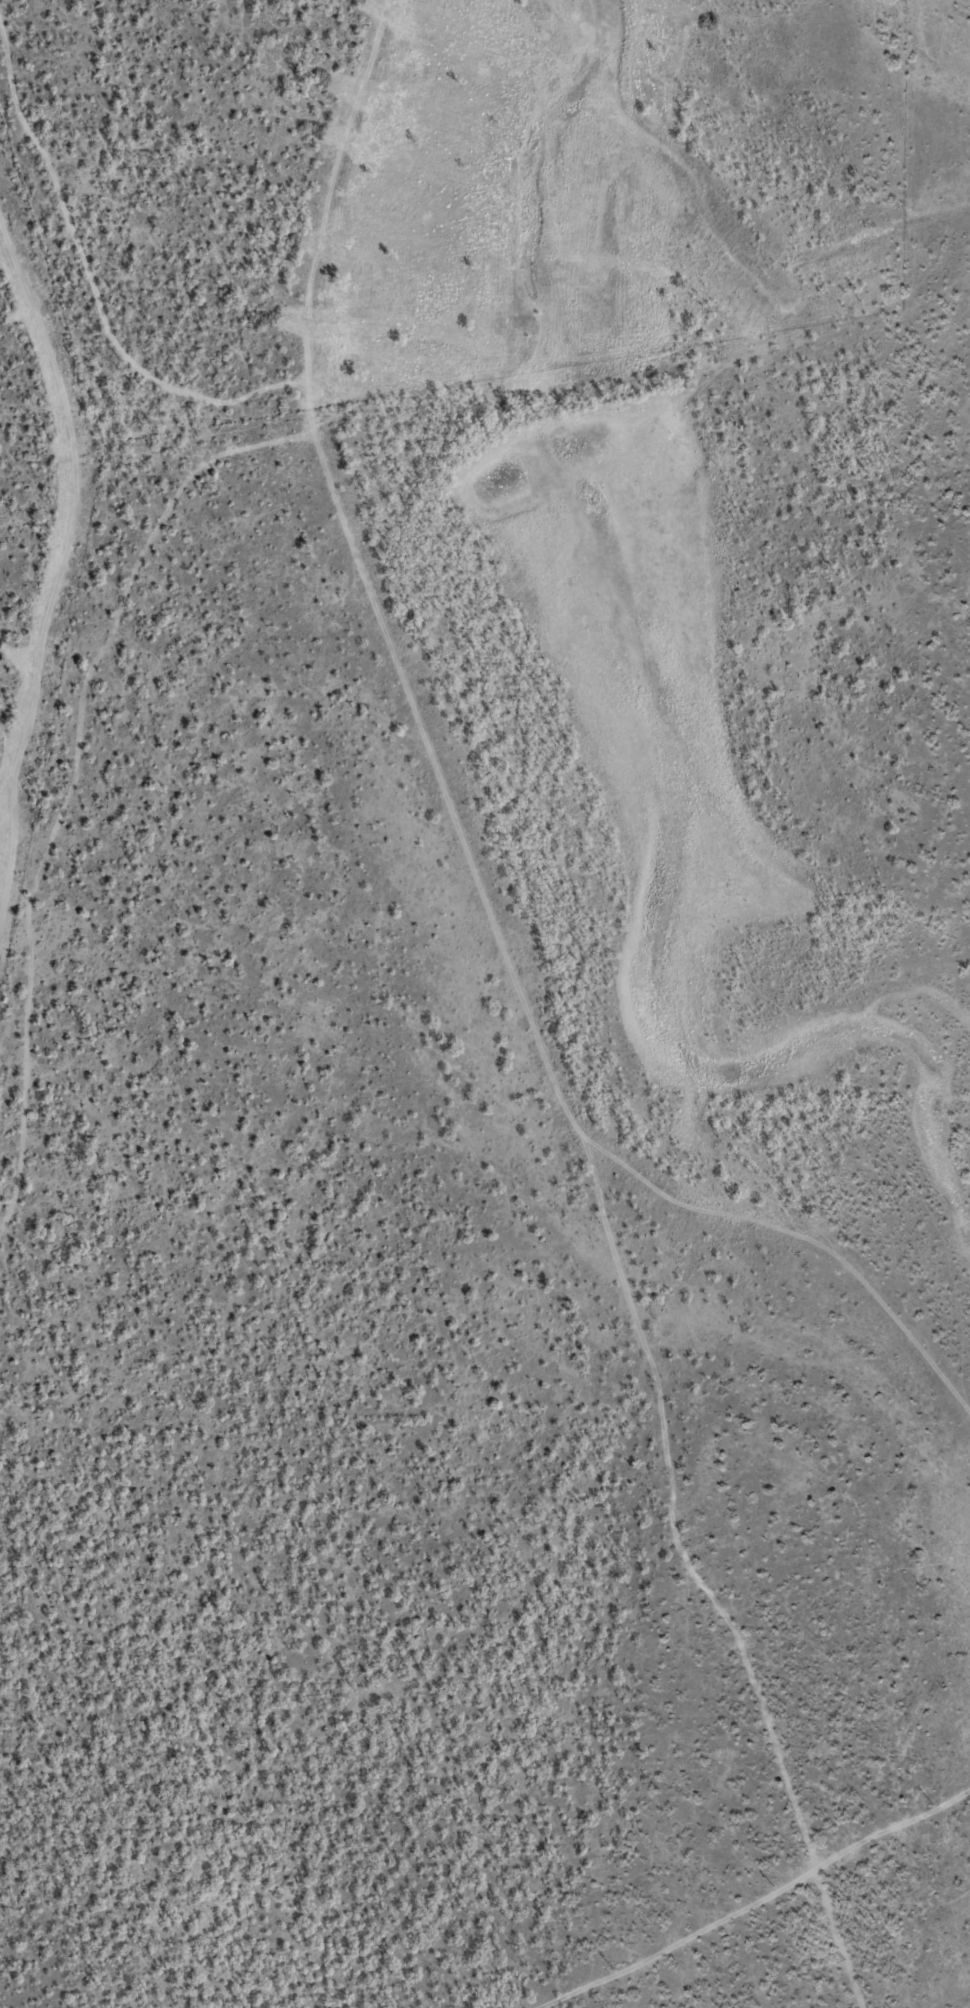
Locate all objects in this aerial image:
road: (507, 1071)

